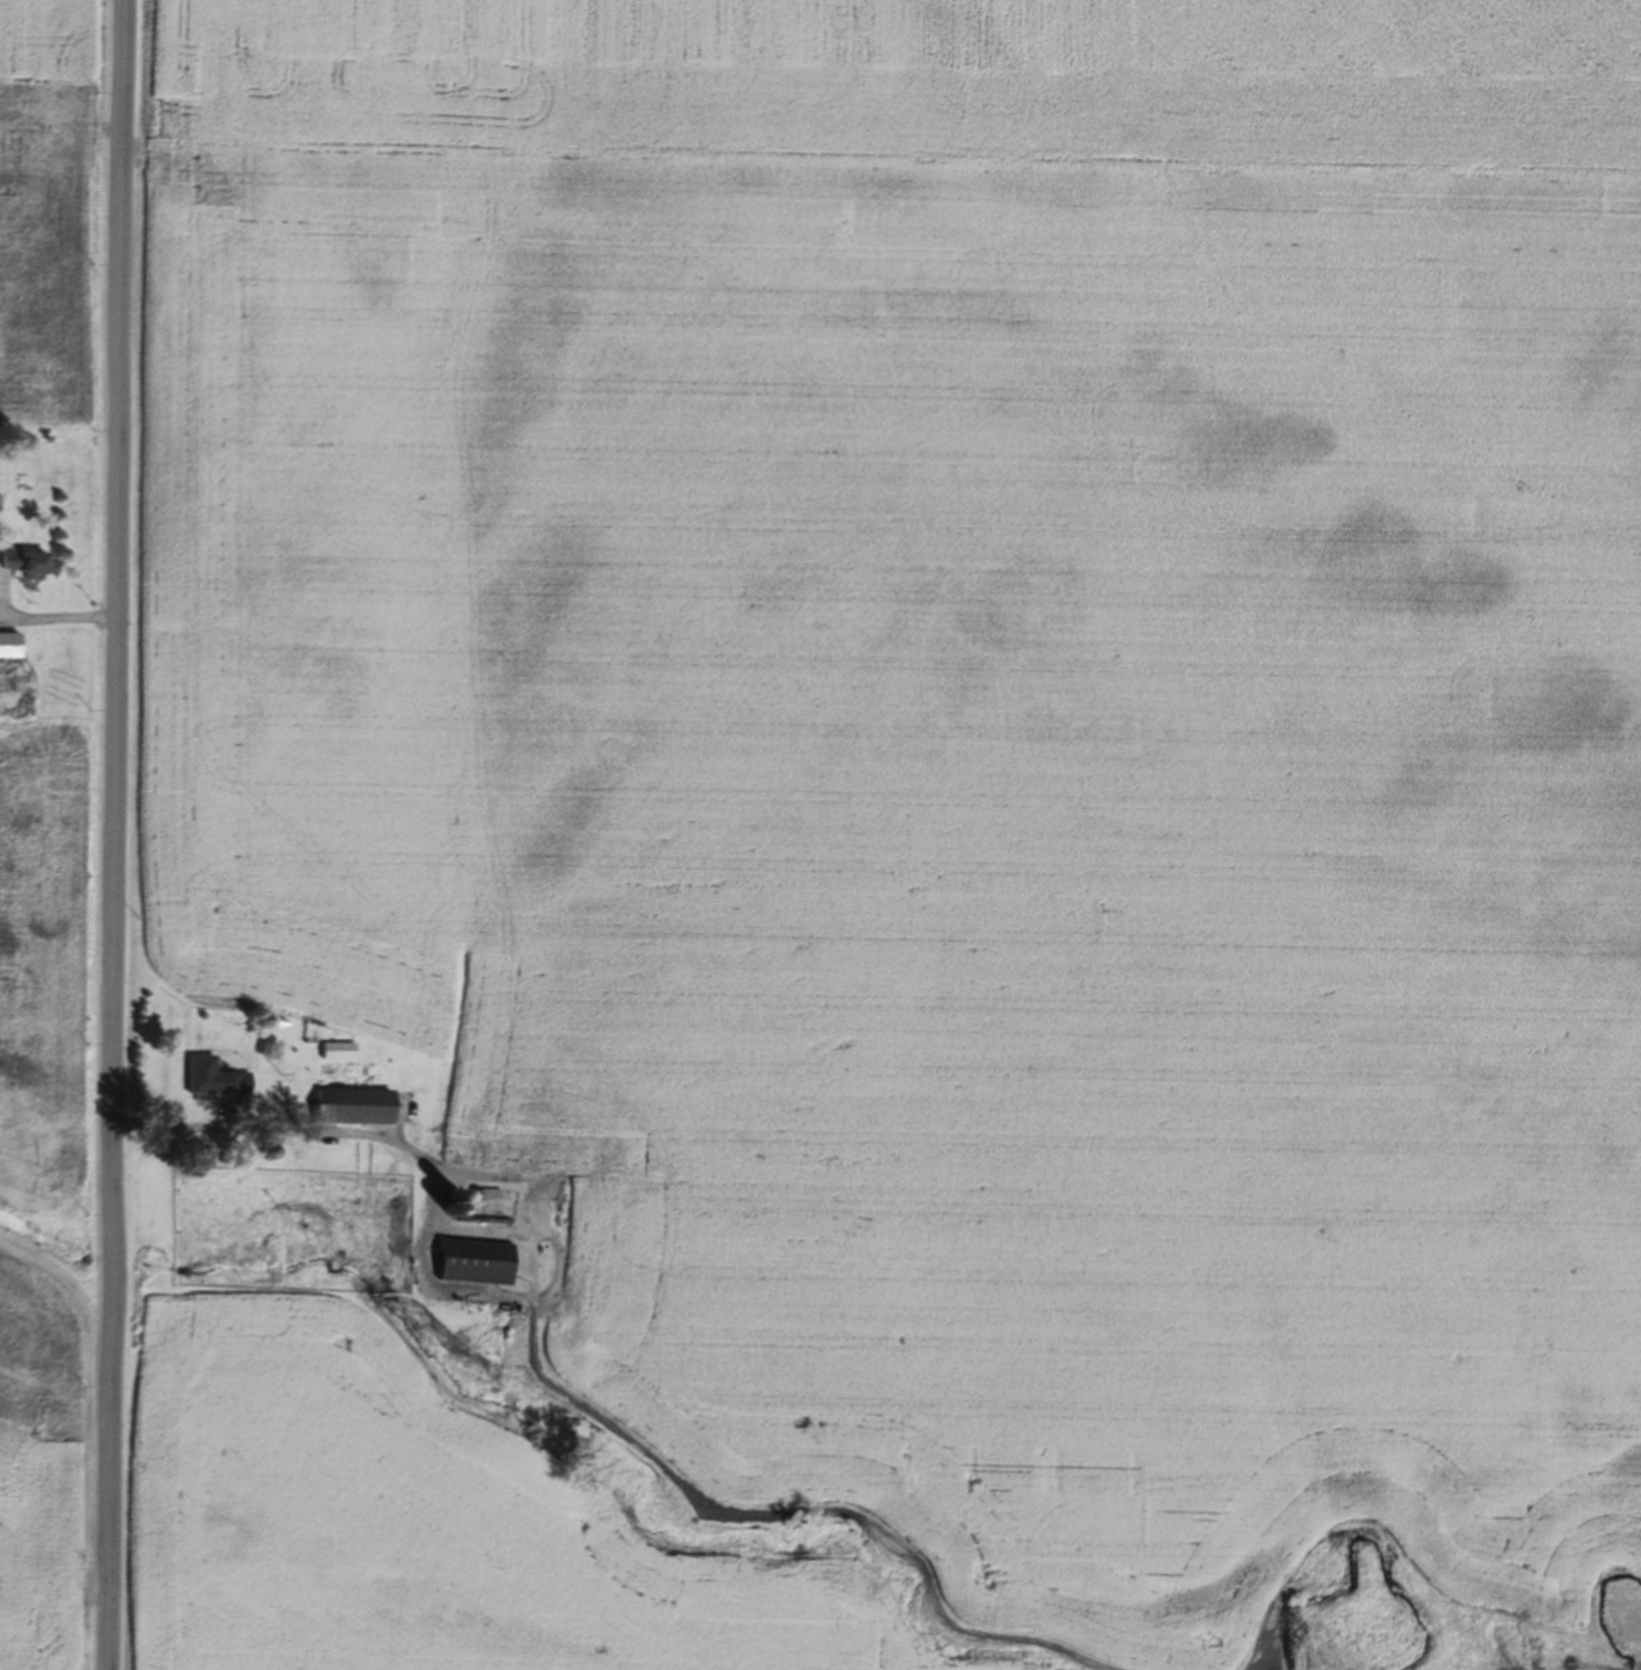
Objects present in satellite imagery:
building: (27, 561)
road: (52, 616)
building: (10, 644)
road: (115, 834)
building: (339, 1050)
building: (210, 1076)
building: (356, 1106)
building: (272, 1152)
building: (475, 1262)

